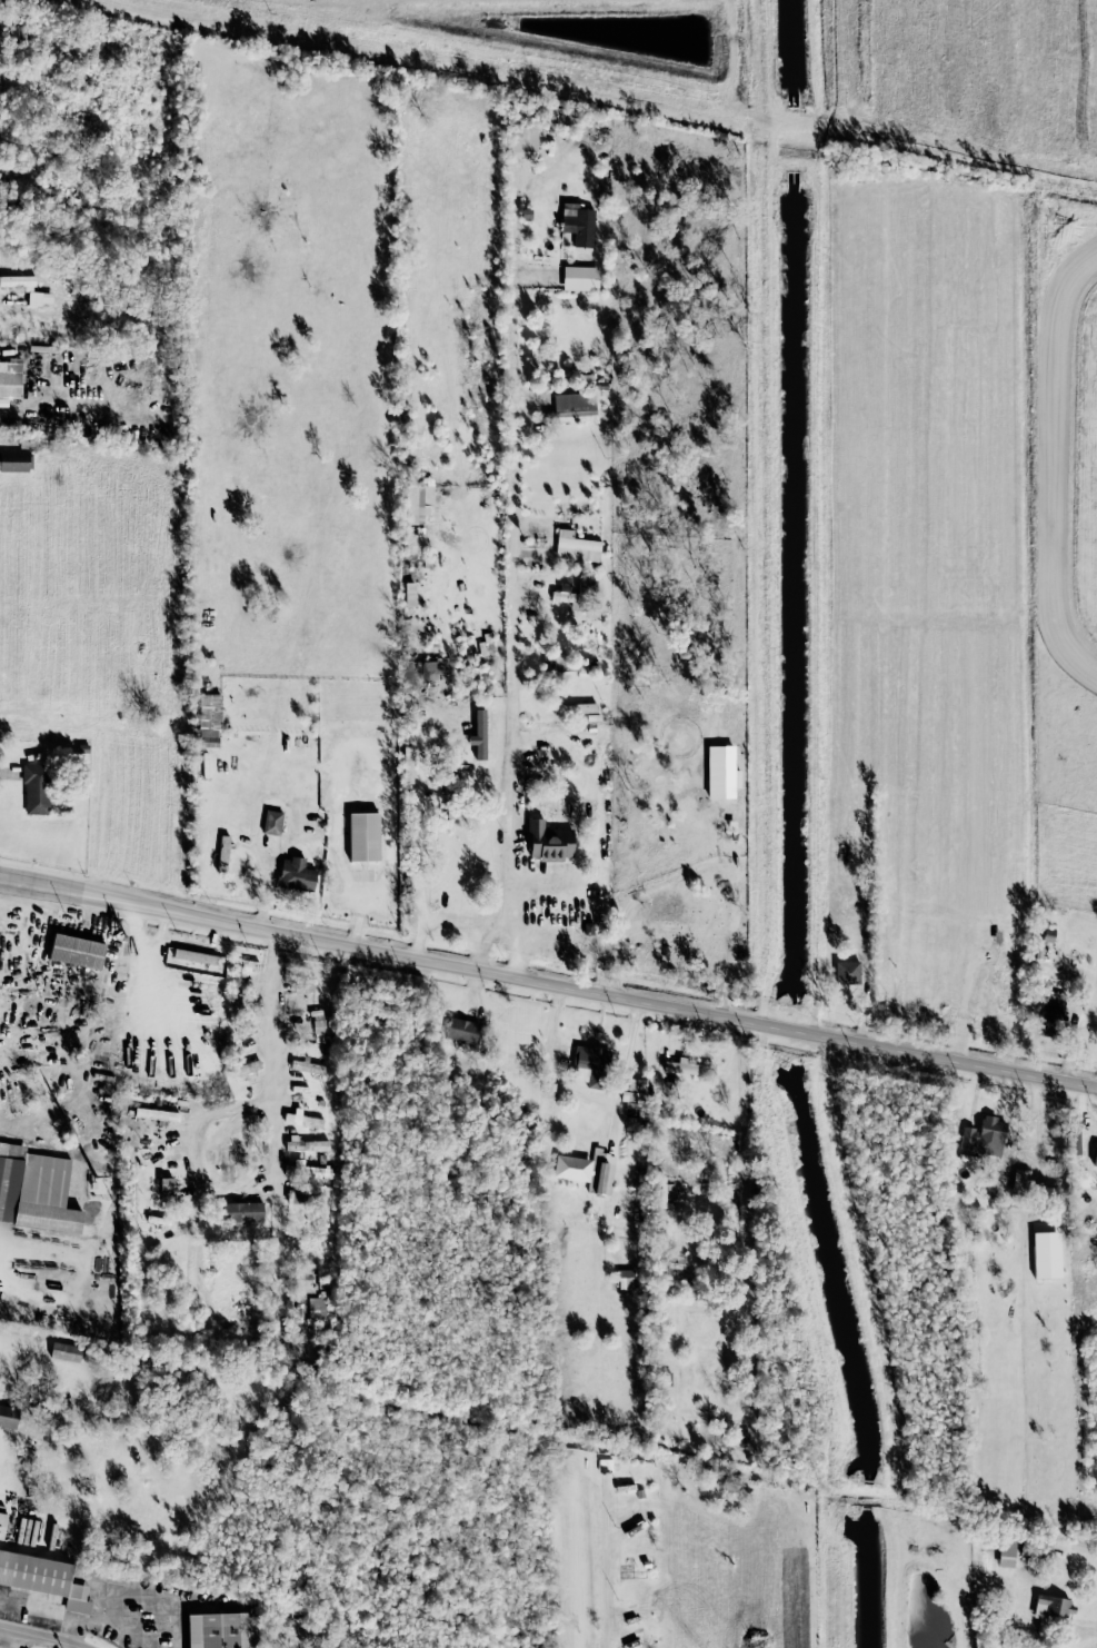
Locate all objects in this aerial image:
building: (17, 34)
building: (522, 140)
building: (577, 227)
building: (580, 277)
building: (28, 289)
building: (10, 379)
building: (575, 407)
building: (16, 460)
building: (419, 502)
building: (575, 546)
road: (512, 573)
building: (565, 595)
building: (569, 664)
building: (209, 719)
building: (478, 734)
building: (721, 772)
building: (36, 788)
building: (272, 822)
building: (362, 835)
building: (548, 841)
building: (222, 853)
road: (419, 862)
building: (296, 874)
road: (425, 936)
building: (77, 951)
building: (196, 956)
building: (847, 971)
road: (548, 981)
building: (1050, 1011)
building: (463, 1030)
road: (273, 1053)
building: (306, 1065)
building: (589, 1065)
building: (249, 1069)
building: (689, 1069)
building: (632, 1090)
road: (586, 1094)
road: (609, 1116)
building: (303, 1120)
road: (203, 1123)
building: (984, 1136)
building: (306, 1143)
building: (1095, 1155)
building: (308, 1170)
building: (588, 1170)
building: (168, 1187)
building: (36, 1190)
building: (659, 1191)
building: (295, 1195)
building: (242, 1211)
road: (39, 1215)
road: (281, 1244)
building: (624, 1278)
building: (317, 1308)
building: (66, 1351)
building: (8, 1416)
building: (2, 1523)
building: (1006, 1552)
building: (43, 1578)
road: (607, 1585)
building: (1049, 1605)
building: (221, 1630)
road: (40, 1636)
road: (14, 1639)

